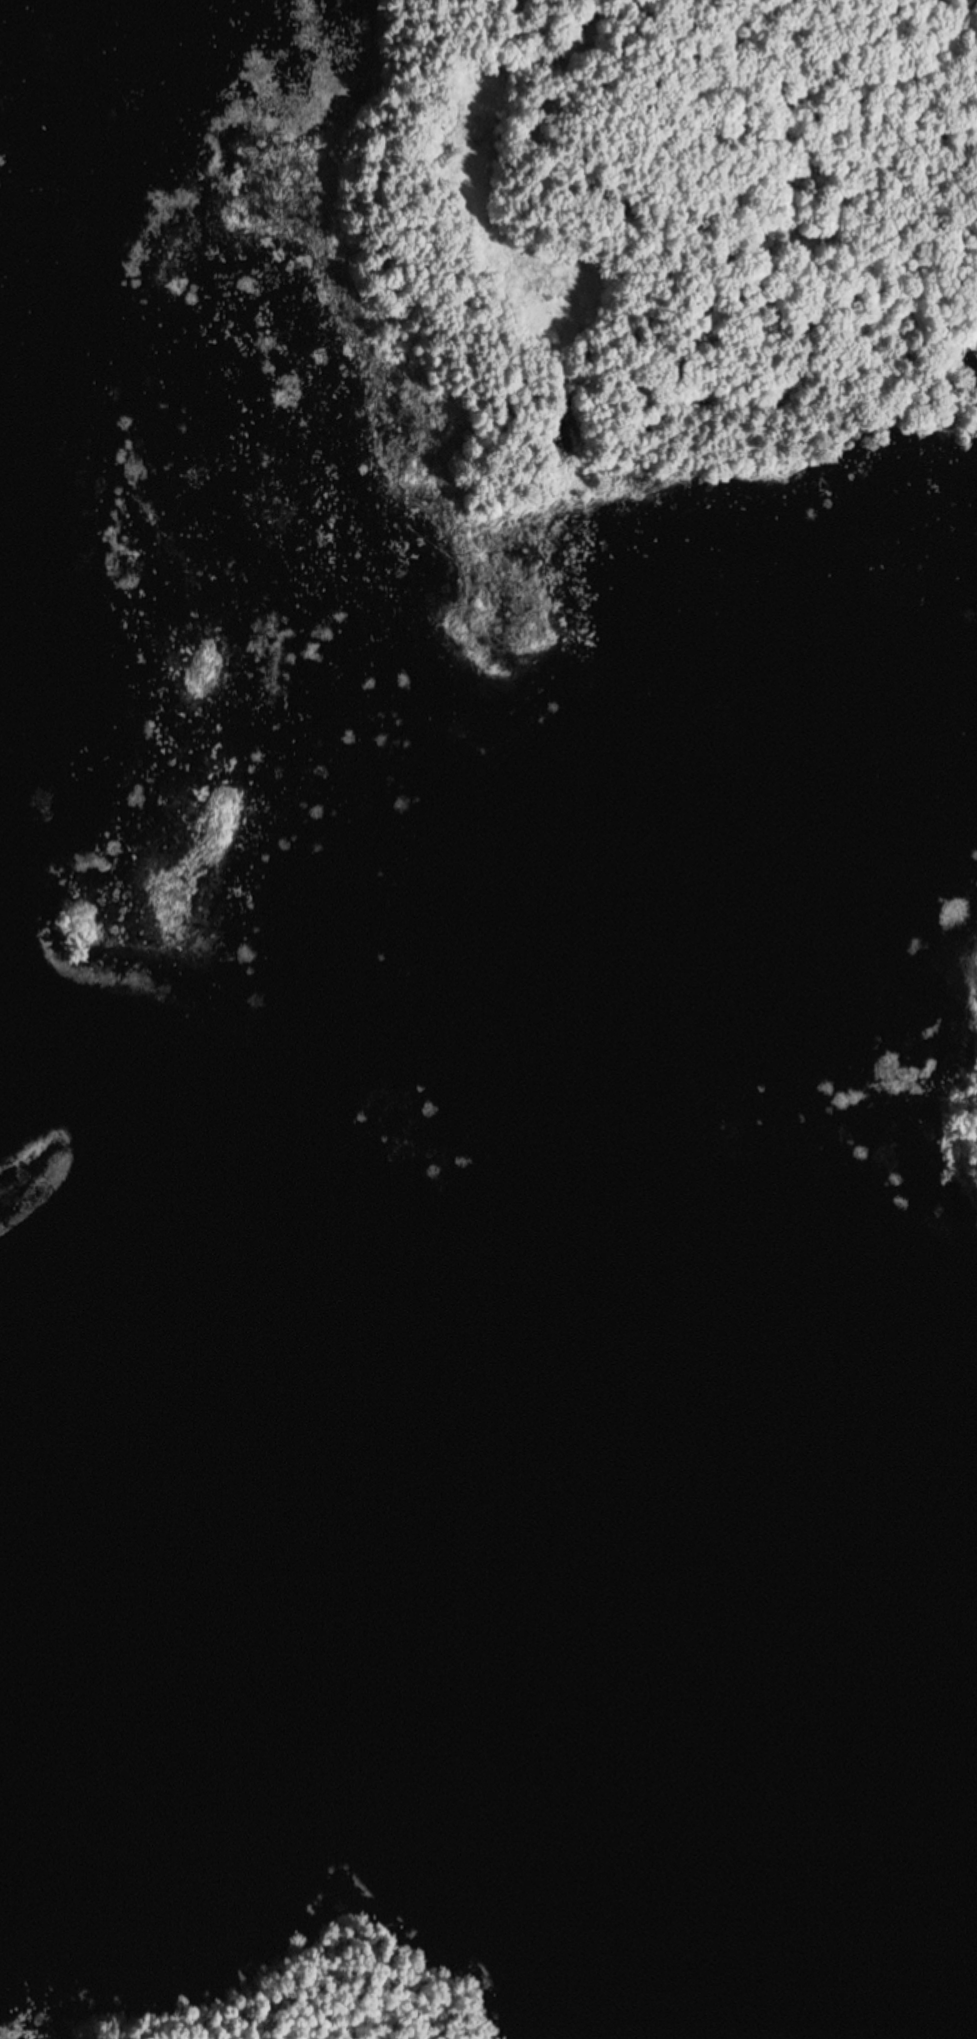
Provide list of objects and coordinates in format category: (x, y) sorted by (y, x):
river: (559, 1573)

